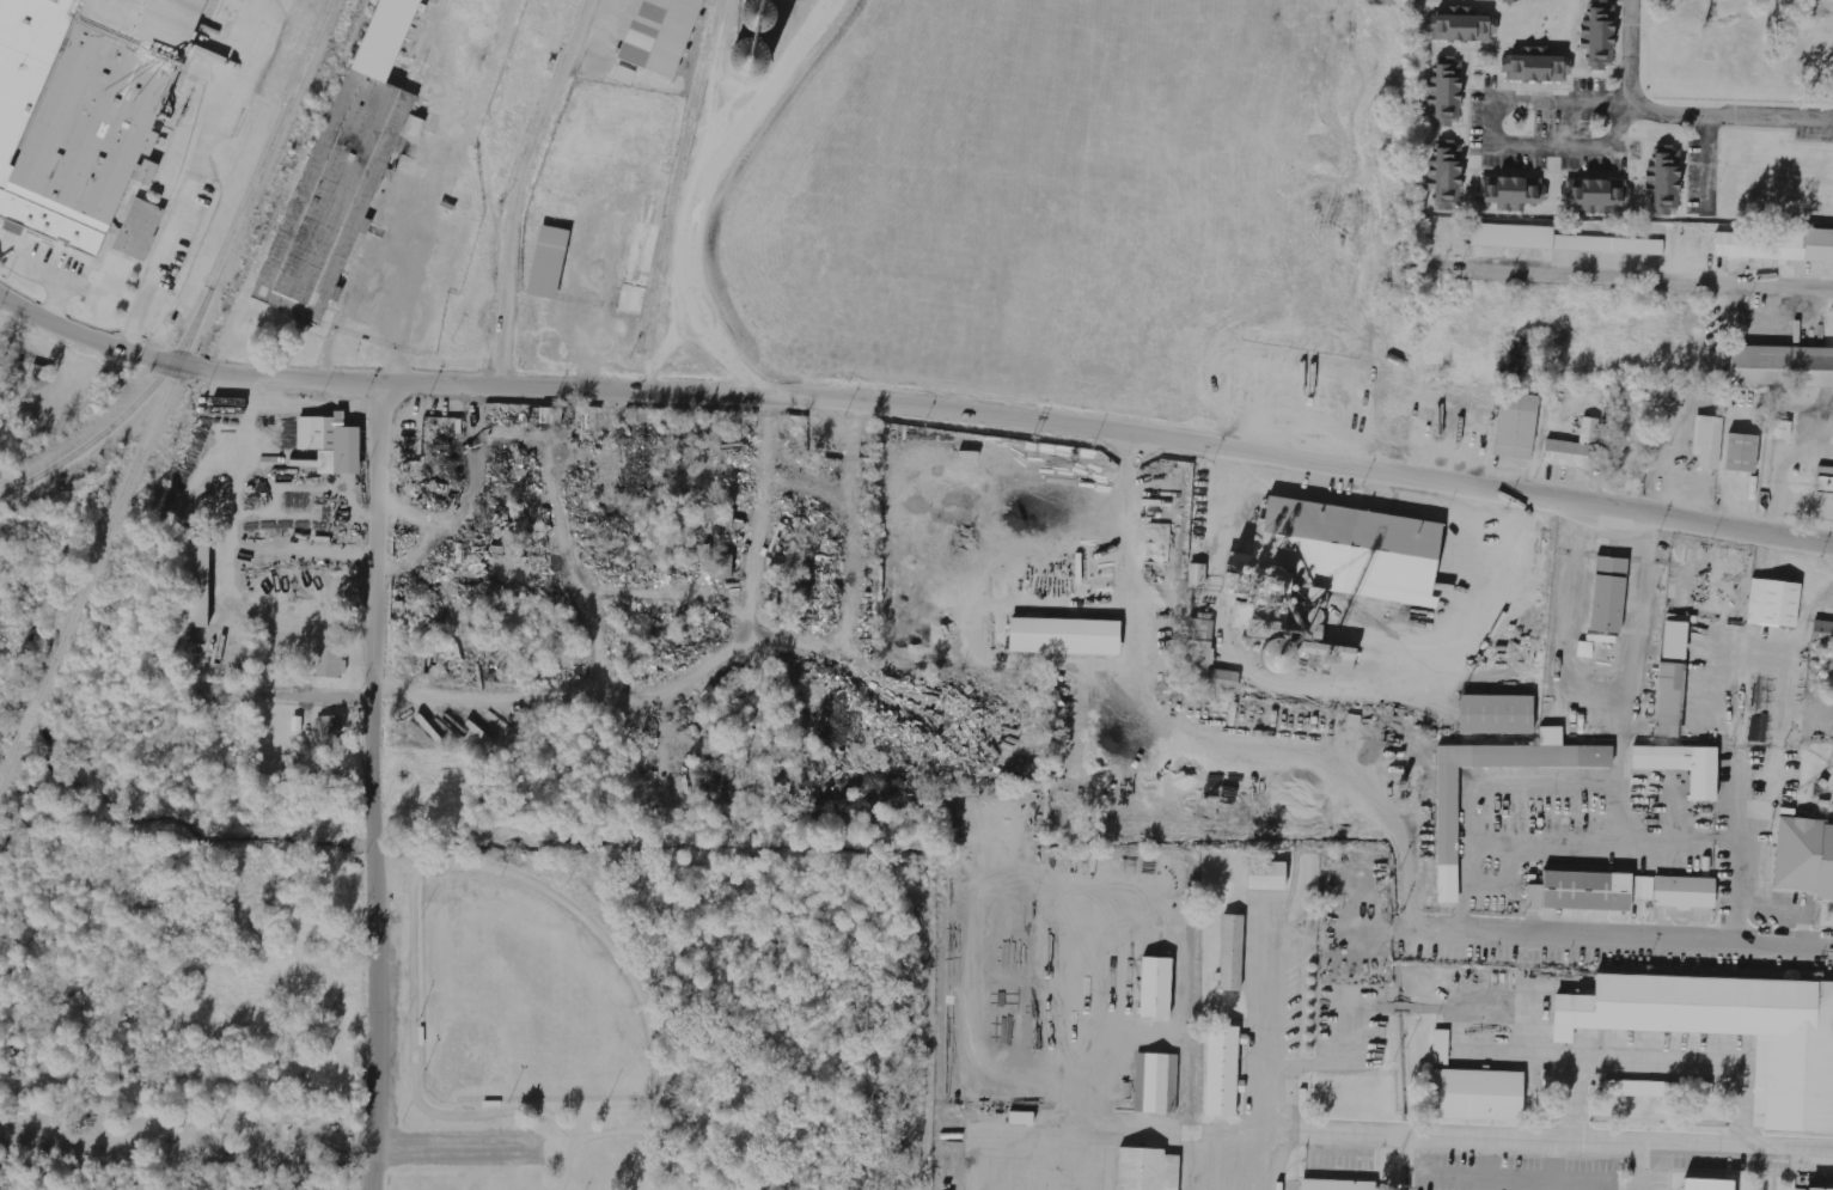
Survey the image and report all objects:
building: (213, 0)
building: (1498, 1)
building: (1505, 1)
building: (1464, 29)
building: (654, 35)
building: (1601, 37)
building: (753, 43)
railway: (191, 49)
building: (1536, 68)
building: (624, 75)
building: (1447, 93)
building: (84, 108)
road: (1680, 112)
road: (1492, 133)
building: (346, 166)
road: (191, 176)
building: (1448, 177)
railway: (673, 178)
building: (1666, 183)
building: (1508, 194)
building: (1594, 196)
road: (518, 197)
building: (140, 228)
building: (1556, 240)
building: (1804, 246)
road: (51, 268)
road: (1636, 277)
building: (543, 286)
building: (1520, 354)
building: (1780, 368)
railway: (166, 390)
road: (914, 395)
railway: (120, 417)
building: (1515, 428)
building: (331, 443)
building: (1705, 443)
building: (1574, 448)
building: (1741, 456)
building: (300, 459)
road: (1783, 469)
building: (1817, 478)
building: (725, 566)
building: (1327, 566)
building: (1197, 575)
building: (196, 582)
building: (1606, 596)
building: (1772, 606)
building: (1064, 635)
building: (1821, 635)
building: (1674, 640)
building: (1584, 649)
building: (1273, 655)
building: (1330, 655)
building: (1204, 658)
building: (329, 663)
road: (471, 692)
building: (1668, 701)
building: (1495, 716)
building: (1761, 727)
building: (330, 731)
building: (1655, 759)
road: (374, 782)
building: (1444, 837)
building: (1804, 860)
building: (1265, 878)
building: (1617, 893)
road: (1625, 926)
building: (1230, 956)
building: (1154, 990)
park: (519, 999)
park: (653, 1015)
building: (1441, 1046)
building: (1221, 1074)
building: (1153, 1085)
building: (1633, 1088)
building: (1791, 1088)
building: (1475, 1094)
road: (617, 1128)
road: (1490, 1136)
building: (1144, 1171)
building: (322, 1184)
building: (1705, 1184)
building: (1334, 1186)
building: (1816, 1189)

